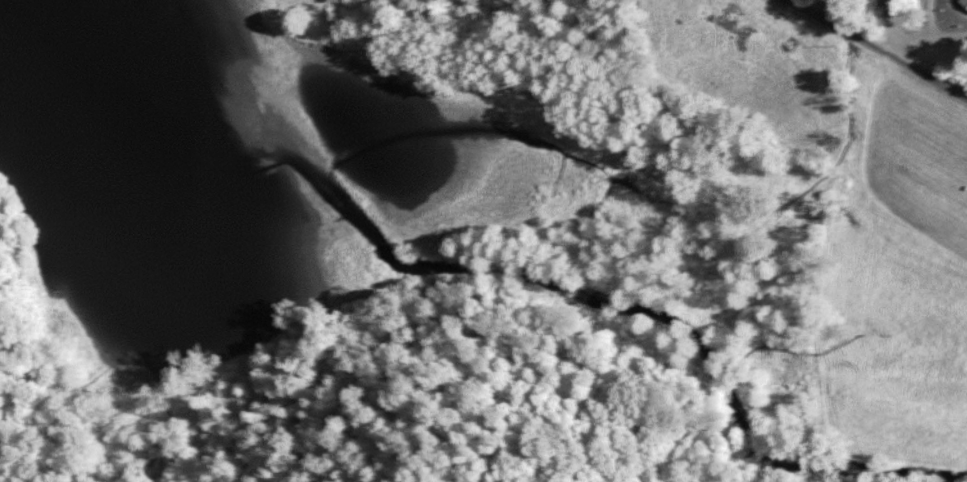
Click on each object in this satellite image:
road: (873, 48)

